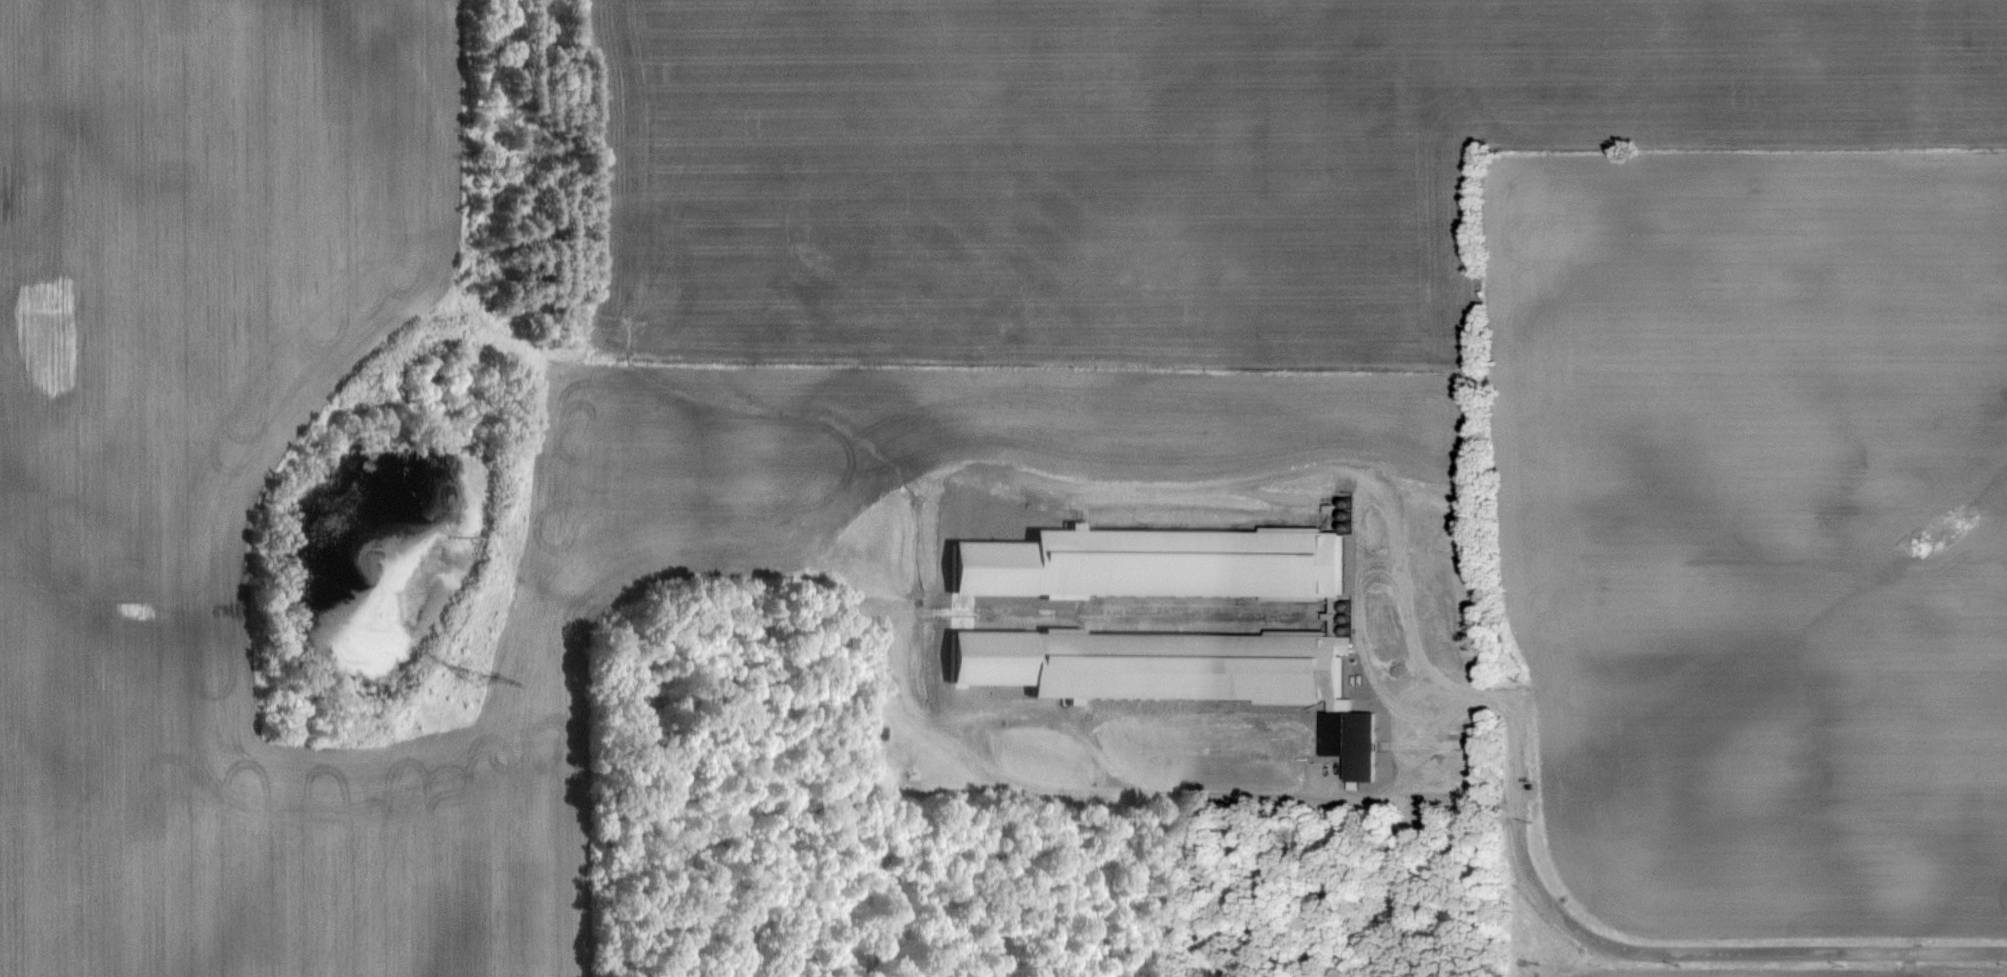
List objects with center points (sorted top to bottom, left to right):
building: (1091, 559)
building: (1293, 562)
building: (1185, 665)
power tower: (471, 678)
building: (1350, 741)

